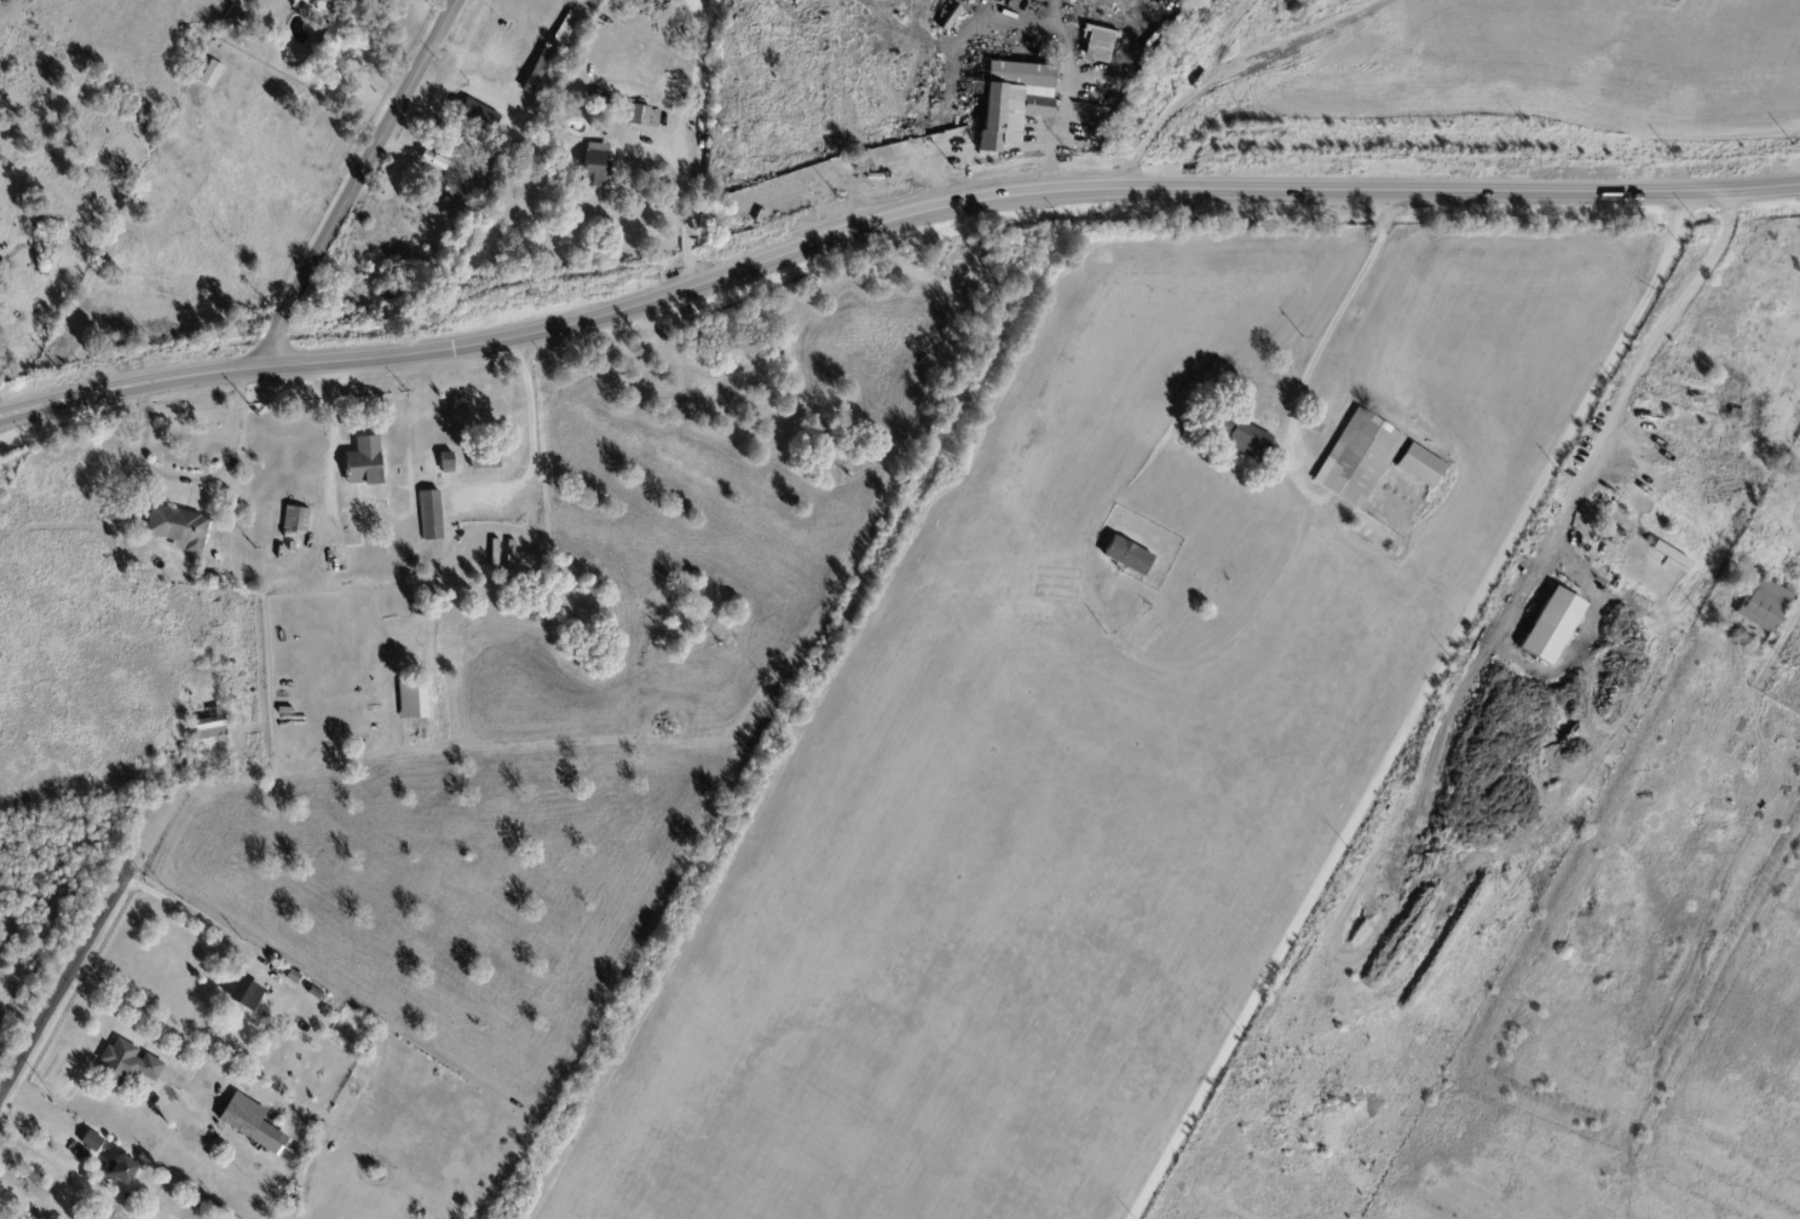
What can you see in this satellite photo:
building: (250, 1)
road: (449, 4)
road: (1052, 13)
building: (335, 21)
building: (565, 28)
road: (473, 44)
road: (1217, 67)
building: (536, 70)
building: (212, 75)
building: (604, 100)
building: (1008, 103)
road: (1067, 106)
building: (478, 116)
building: (644, 117)
road: (842, 133)
building: (452, 135)
building: (487, 154)
building: (594, 164)
building: (846, 174)
road: (359, 183)
road: (683, 202)
road: (889, 223)
building: (420, 237)
road: (1327, 339)
road: (1650, 365)
building: (1694, 387)
building: (1737, 416)
building: (1314, 426)
road: (531, 432)
building: (1237, 434)
road: (328, 444)
building: (484, 458)
building: (1358, 460)
building: (446, 463)
building: (367, 464)
building: (1420, 467)
road: (194, 481)
building: (1784, 505)
building: (117, 513)
building: (426, 516)
building: (298, 521)
building: (181, 530)
building: (1619, 530)
building: (1679, 547)
building: (491, 554)
building: (507, 557)
building: (1127, 557)
building: (204, 576)
building: (1762, 605)
building: (1551, 625)
building: (412, 699)
building: (210, 723)
road: (192, 917)
road: (87, 957)
building: (295, 977)
building: (248, 993)
road: (155, 1023)
building: (129, 1064)
building: (253, 1125)
building: (93, 1142)
building: (302, 1152)
building: (125, 1171)
building: (31, 1218)

